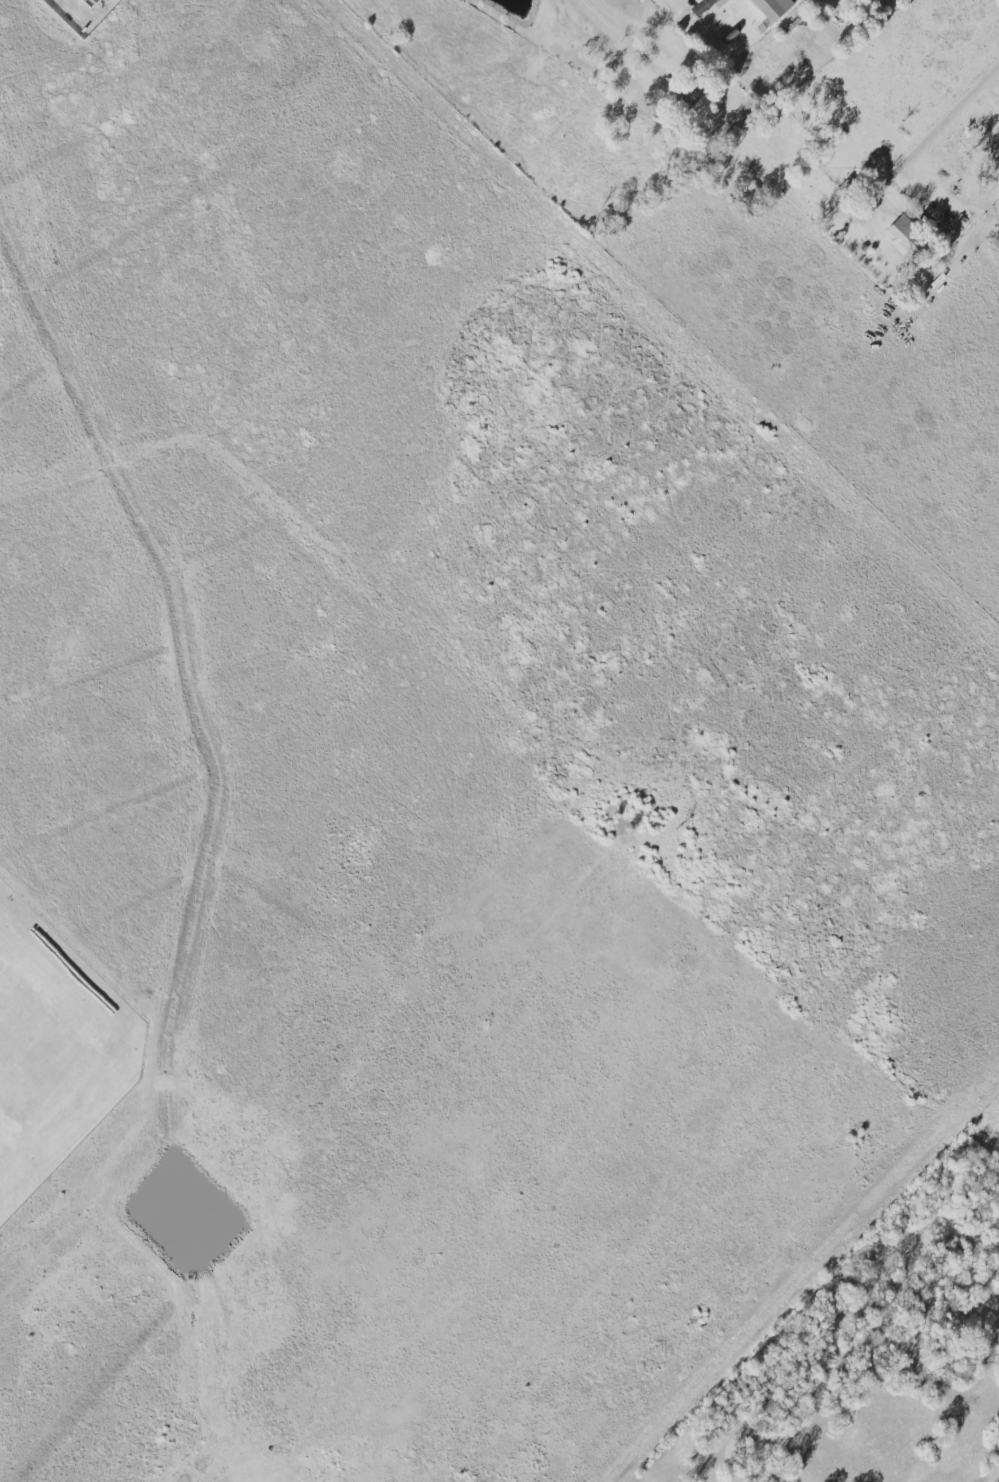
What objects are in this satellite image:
building: (89, 2)
building: (705, 5)
building: (772, 8)
road: (620, 35)
road: (942, 120)
building: (906, 237)

